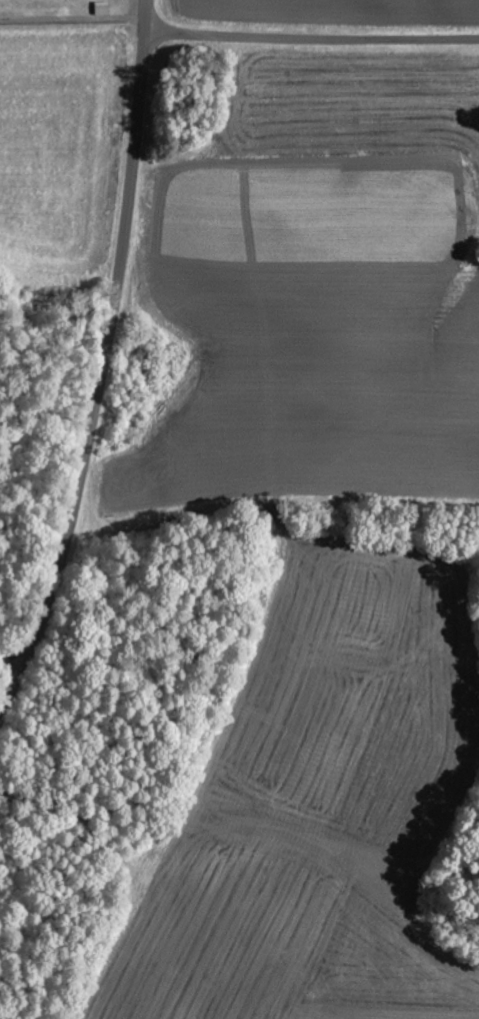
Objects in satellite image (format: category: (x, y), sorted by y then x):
park: (62, 12)
road: (312, 39)
road: (104, 364)

